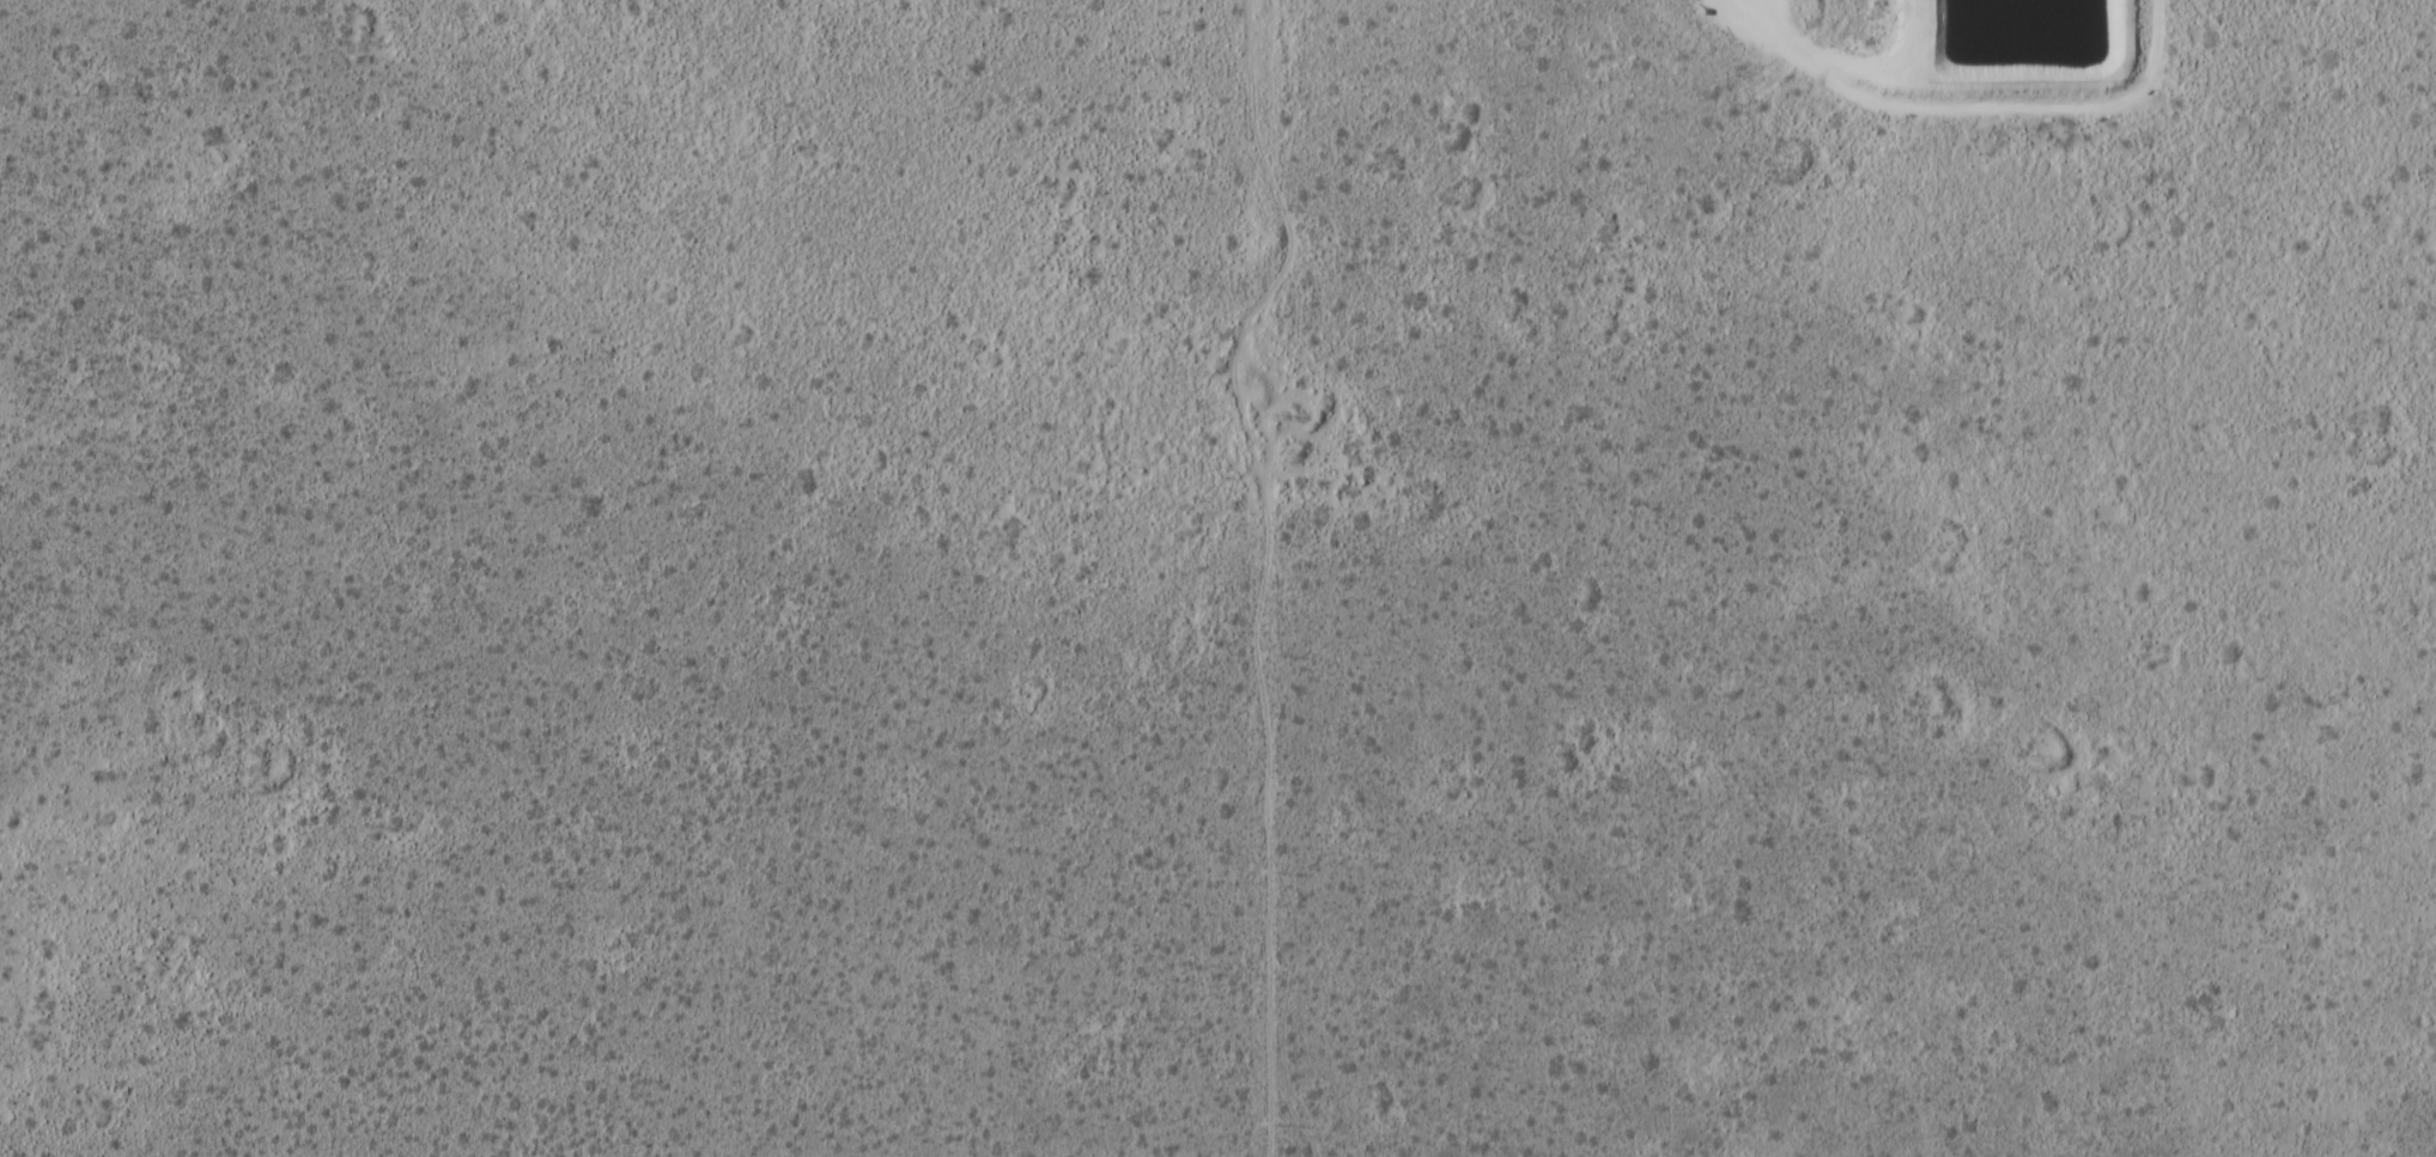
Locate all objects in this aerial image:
road: (2146, 41)

